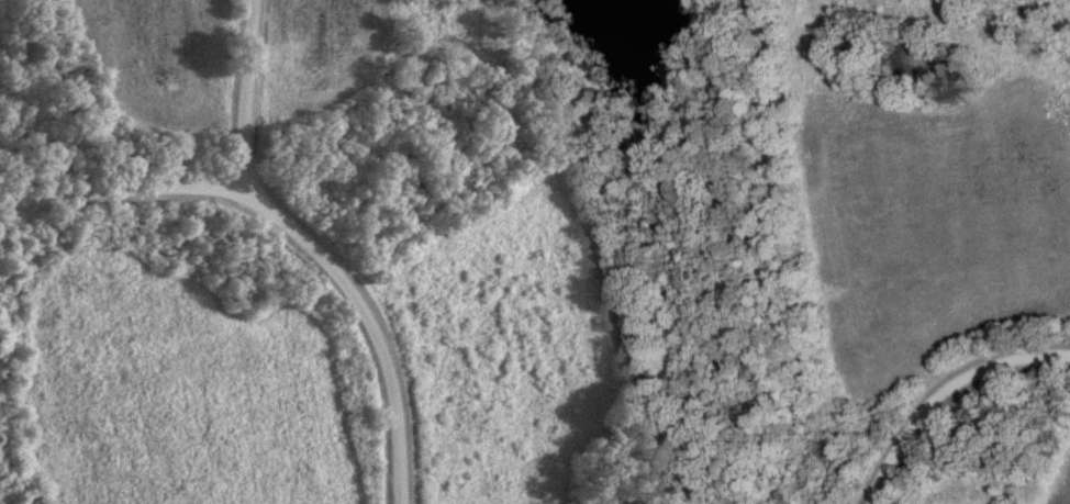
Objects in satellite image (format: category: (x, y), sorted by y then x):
road: (122, 190)
road: (314, 248)
road: (943, 390)

